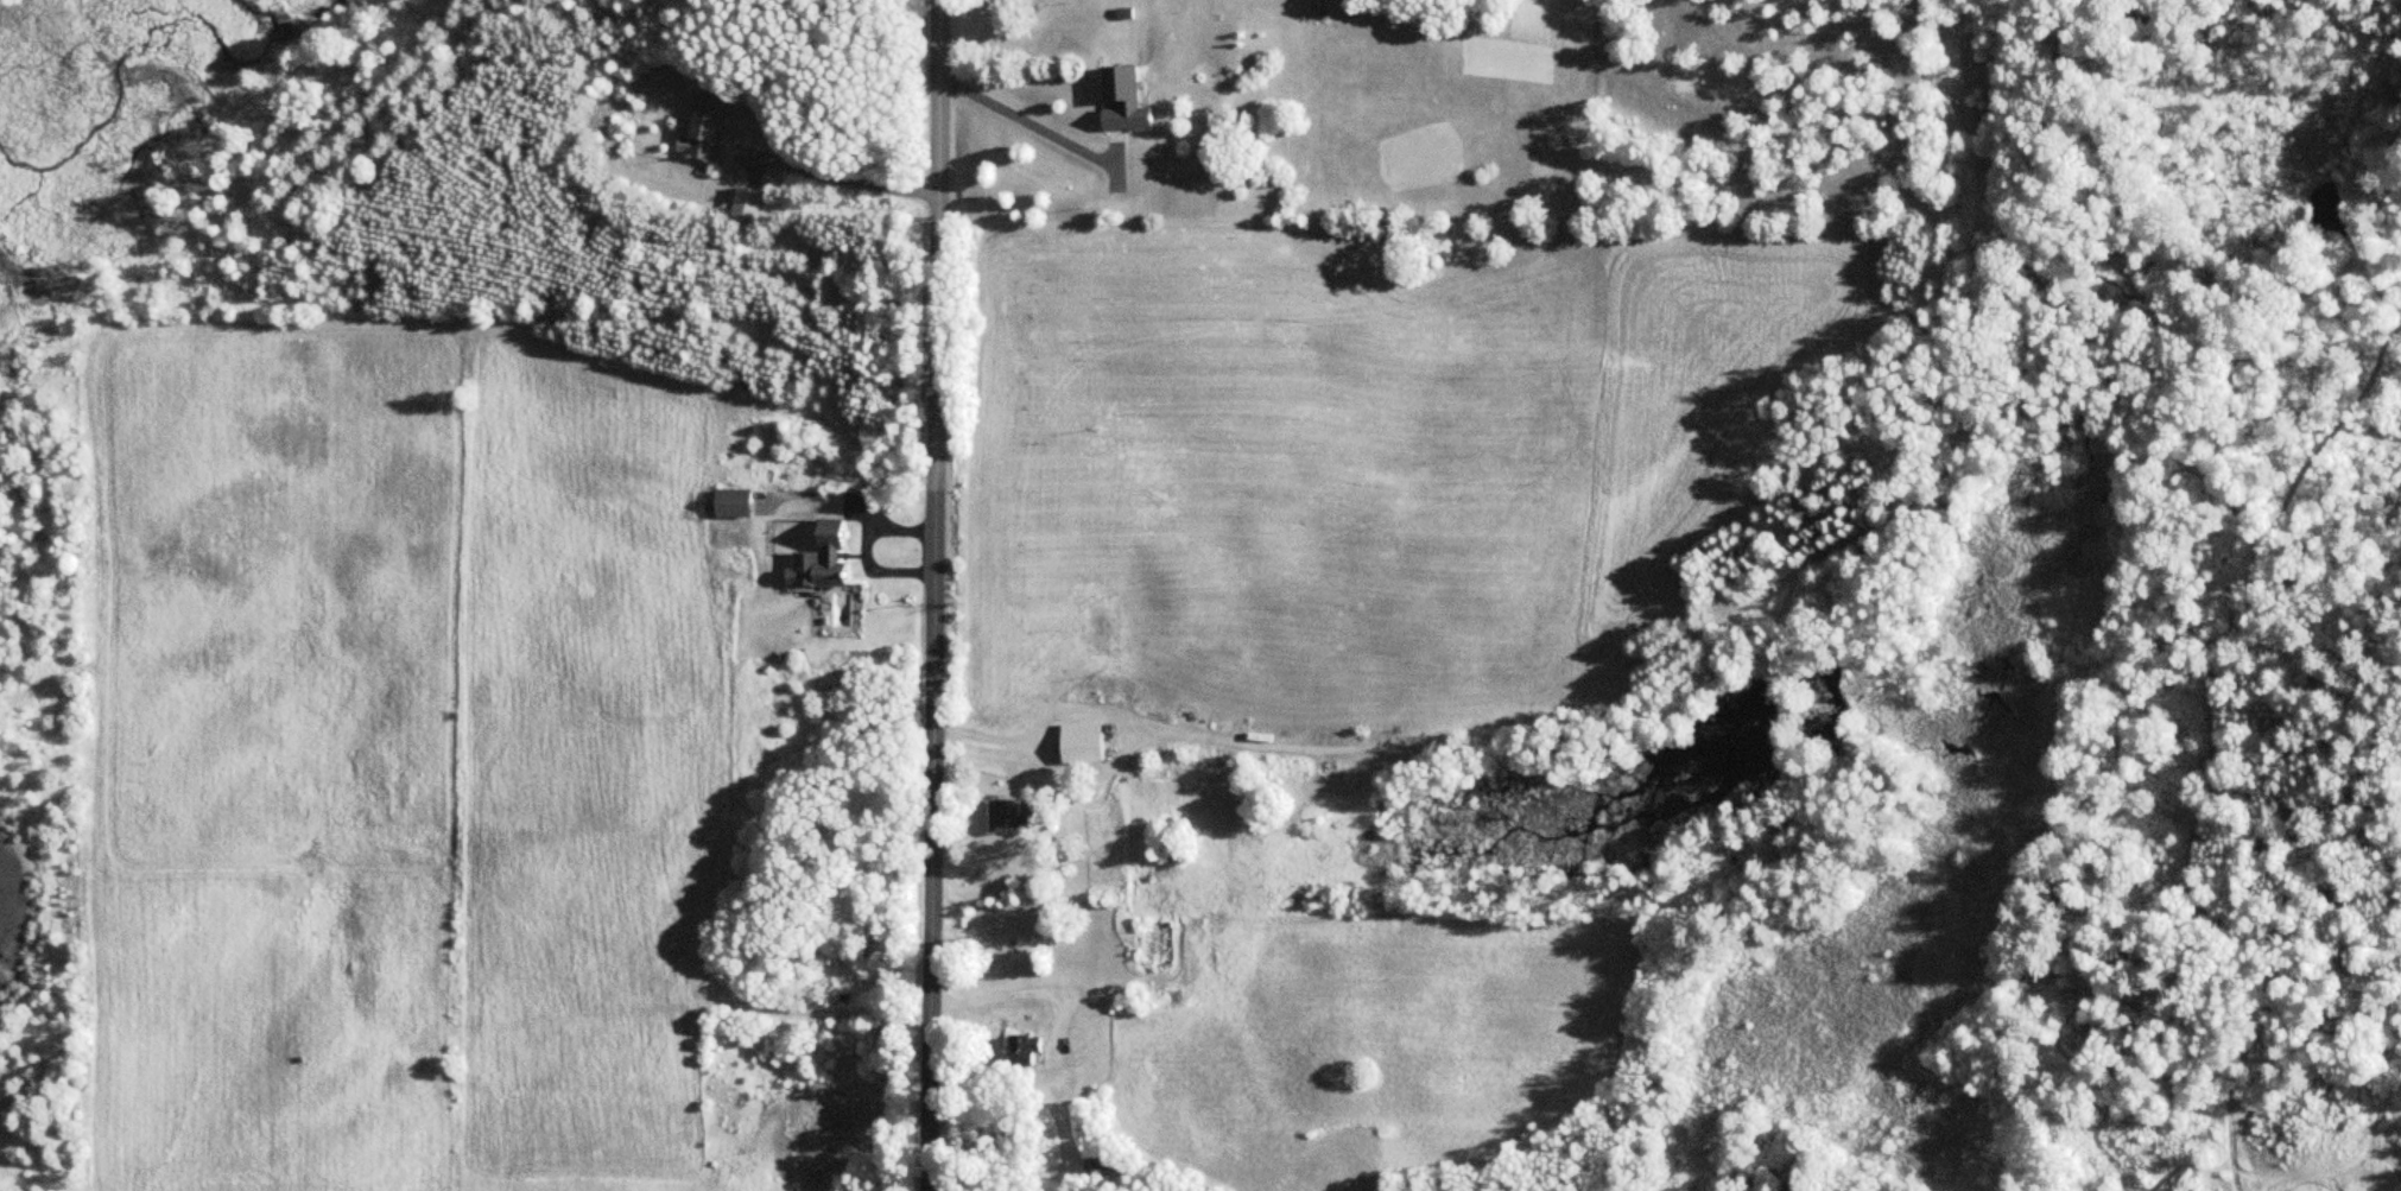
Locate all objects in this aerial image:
building: (1113, 99)
building: (704, 126)
building: (749, 203)
building: (735, 502)
building: (826, 556)
road: (929, 595)
building: (1084, 742)
building: (1011, 812)
crop: (264, 1037)
building: (1031, 1050)

